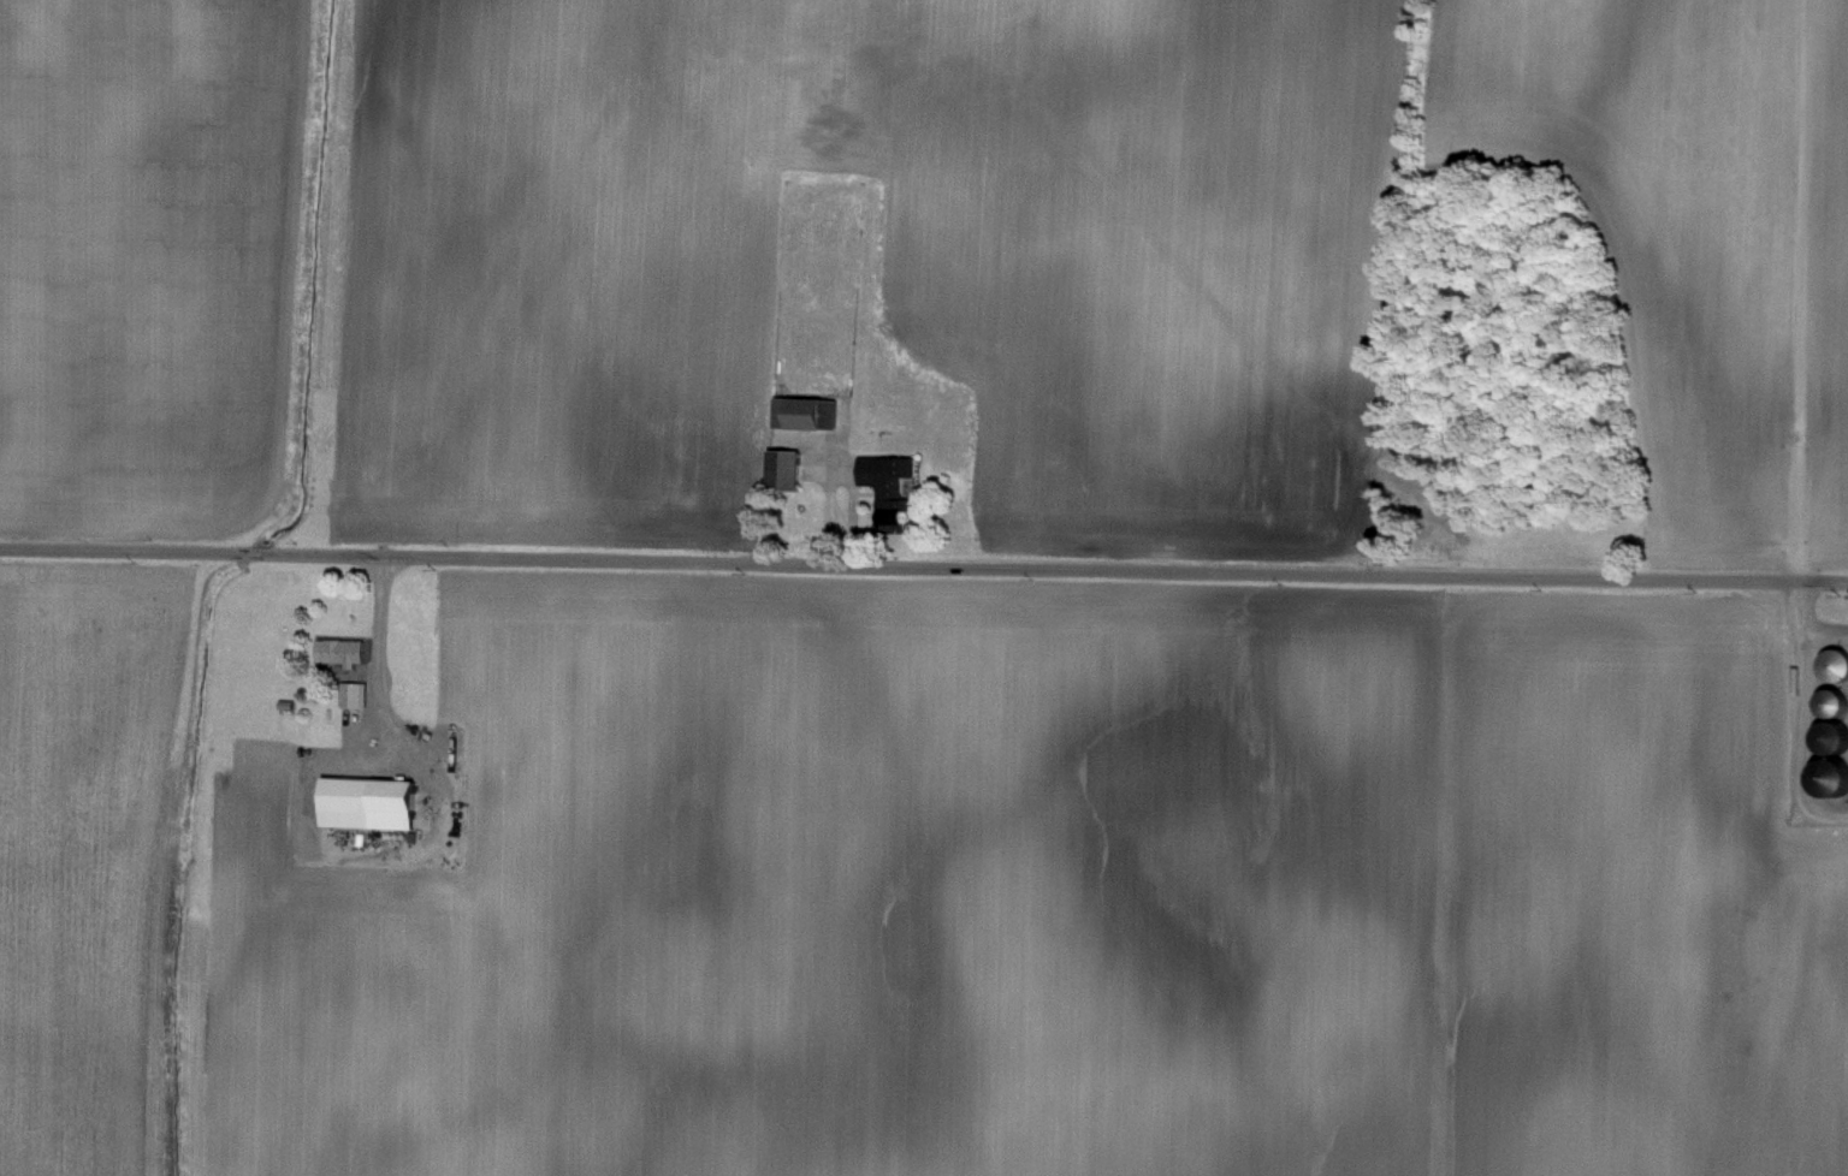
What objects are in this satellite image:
building: (801, 410)
building: (780, 467)
building: (883, 477)
road: (824, 488)
road: (923, 572)
road: (1802, 626)
road: (372, 648)
building: (337, 649)
building: (350, 691)
road: (1801, 738)
building: (362, 801)

